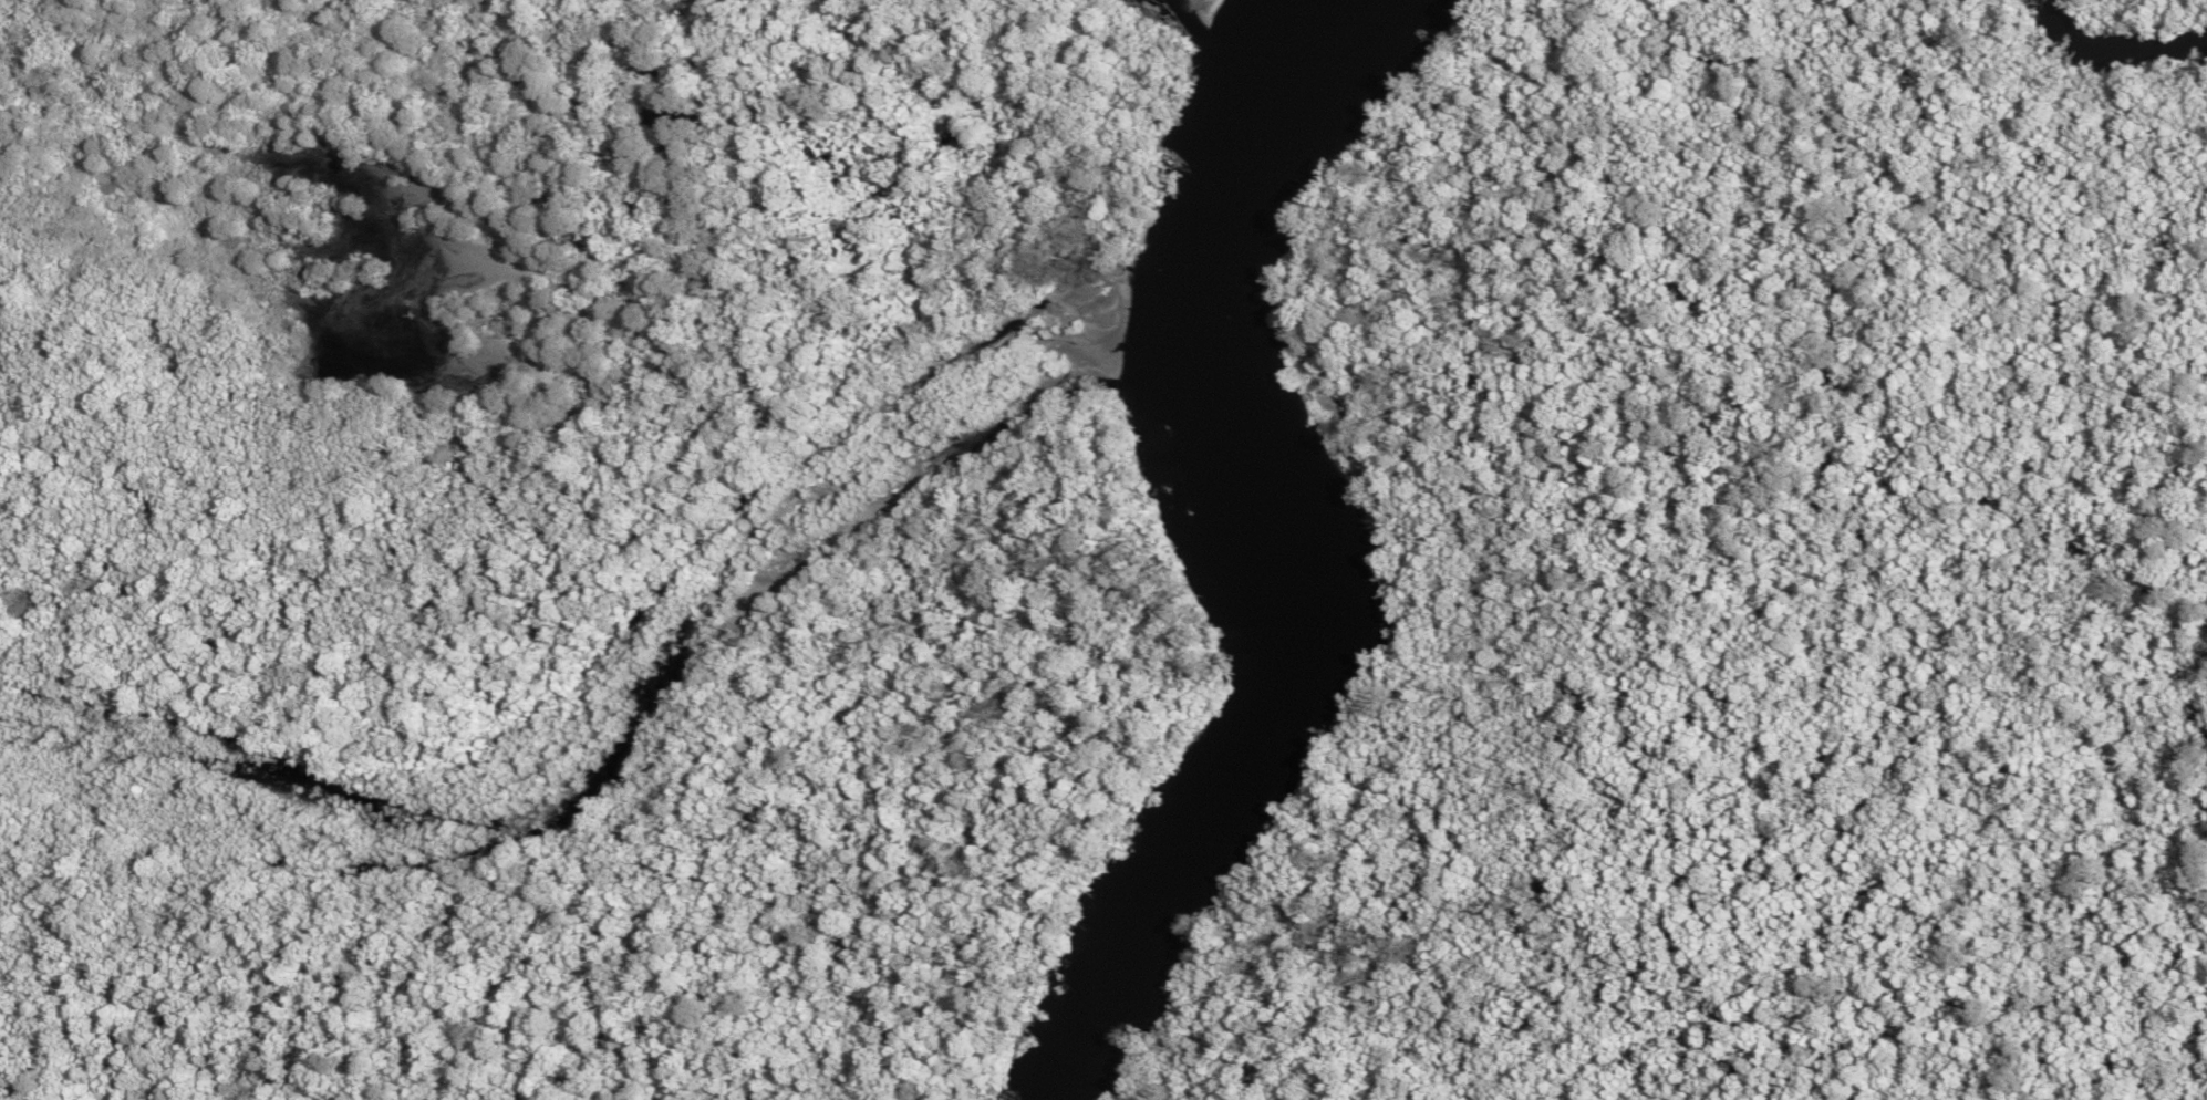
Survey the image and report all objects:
river: (1271, 563)

